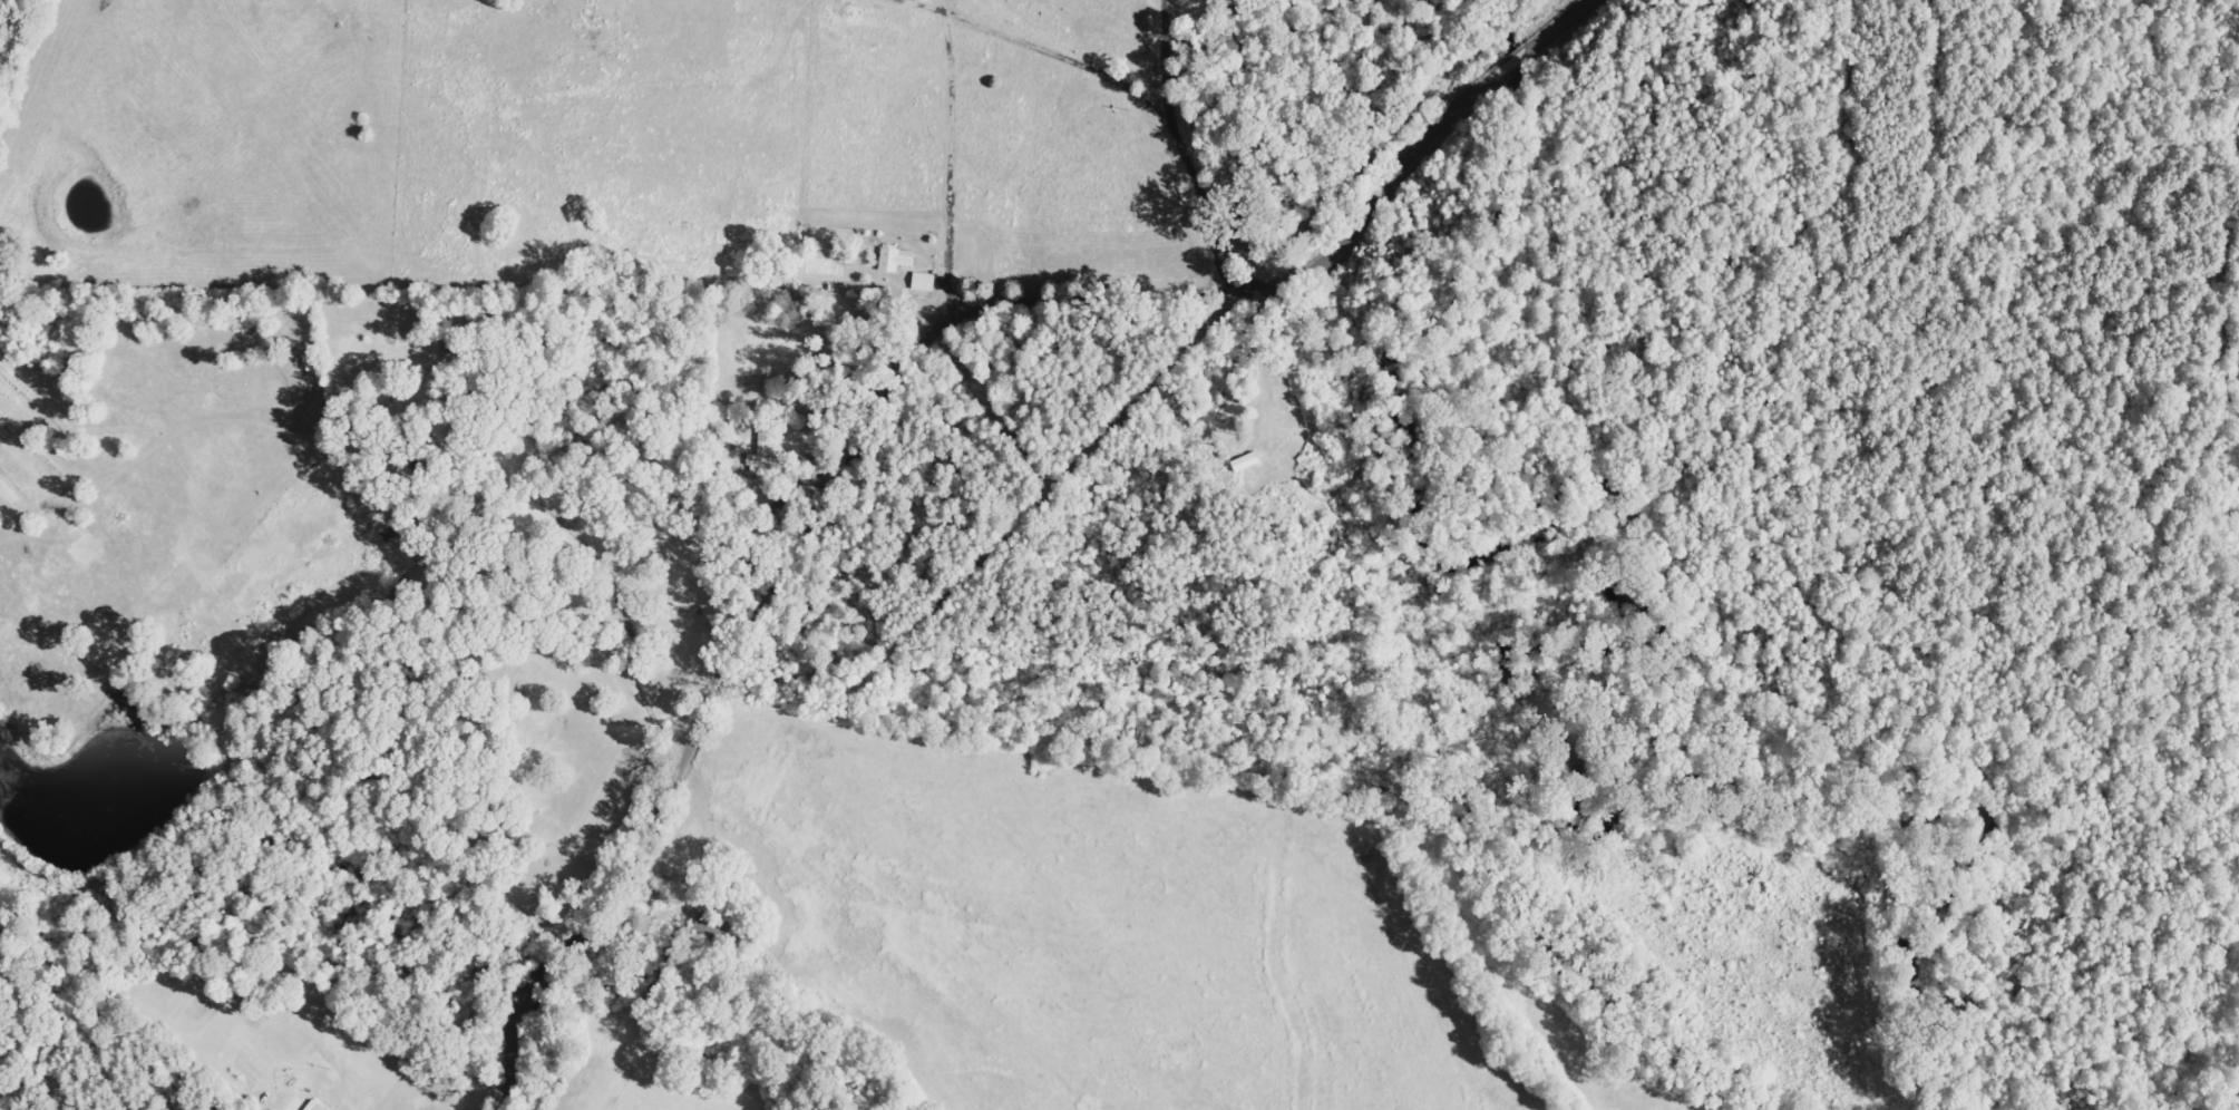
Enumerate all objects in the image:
building: (923, 282)
road: (870, 392)
road: (756, 981)
building: (313, 1106)

